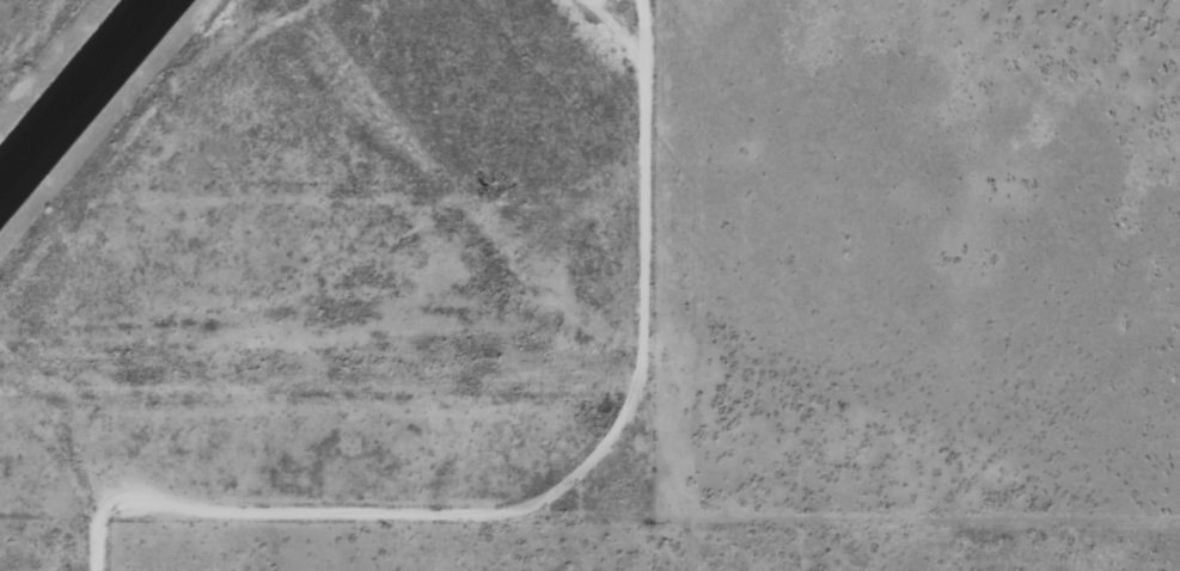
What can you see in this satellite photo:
airport runway: (80, 96)
airport: (322, 262)

